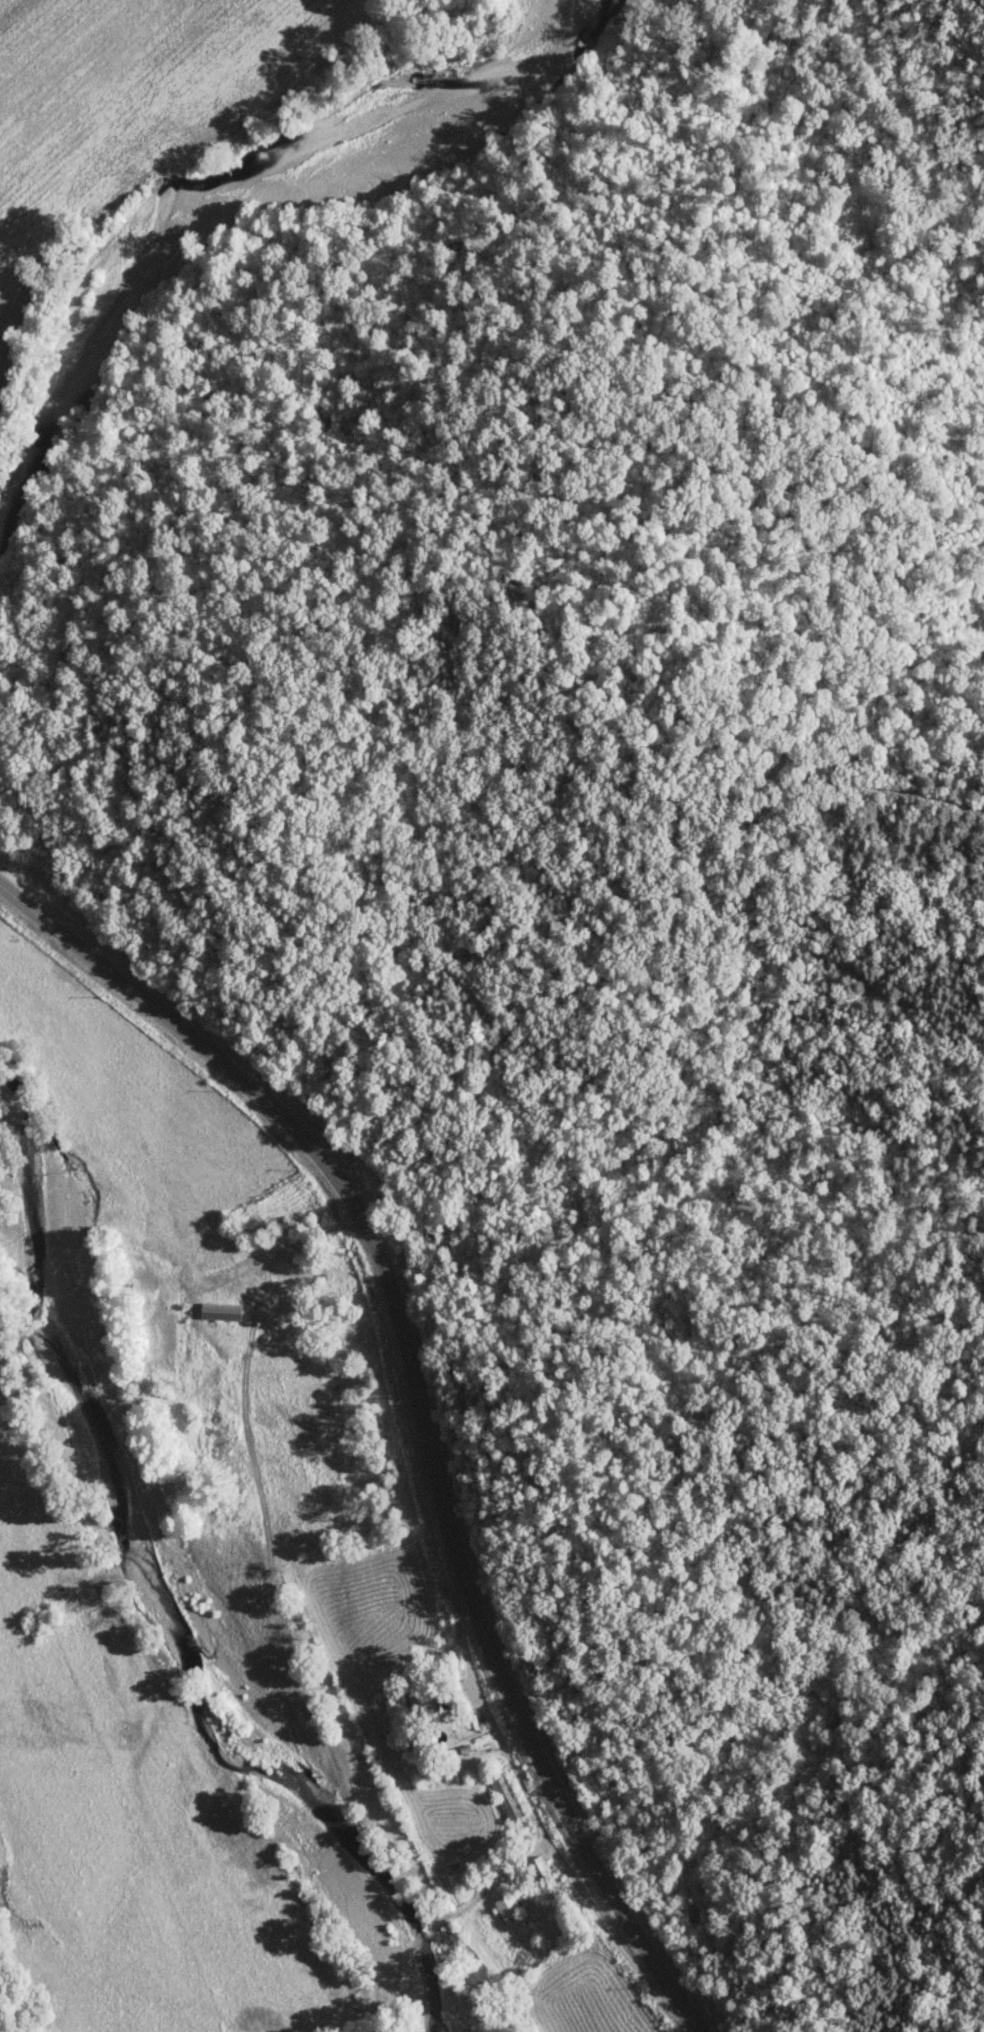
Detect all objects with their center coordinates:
building: (221, 1311)
road: (419, 1406)
building: (427, 1695)
building: (503, 1795)
building: (539, 1867)
building: (508, 1905)

